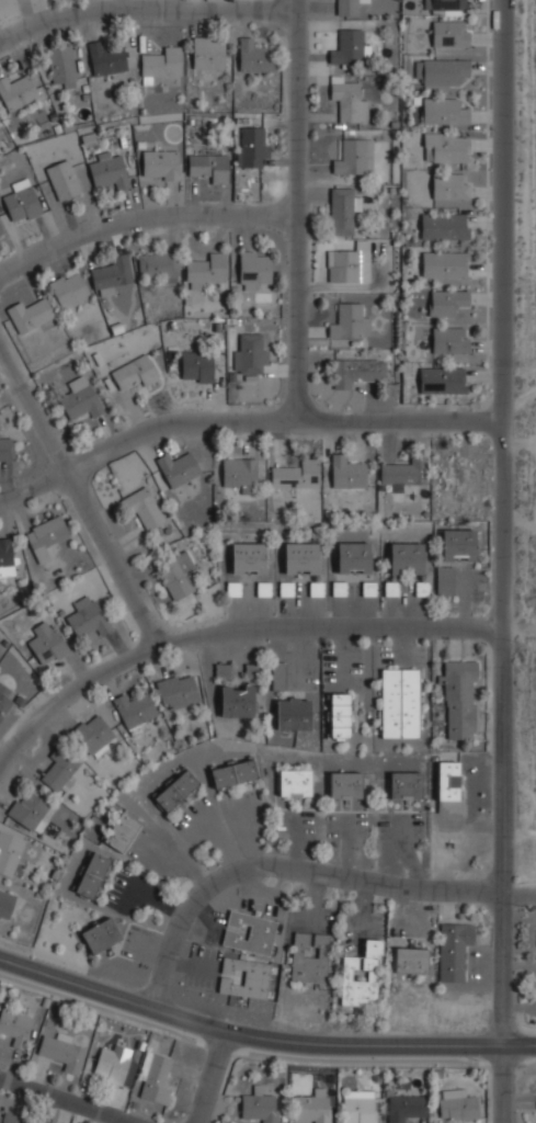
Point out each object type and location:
road: (146, 5)
building: (446, 7)
building: (347, 8)
building: (452, 36)
building: (352, 47)
building: (209, 53)
building: (255, 57)
building: (106, 60)
building: (162, 64)
building: (64, 66)
building: (445, 71)
building: (19, 93)
building: (350, 97)
building: (445, 111)
building: (252, 147)
building: (447, 147)
building: (356, 157)
building: (162, 165)
building: (212, 166)
building: (110, 170)
building: (65, 180)
building: (453, 185)
building: (23, 201)
road: (299, 209)
building: (343, 209)
road: (144, 218)
building: (446, 226)
building: (2, 228)
building: (351, 264)
building: (160, 265)
building: (446, 265)
building: (254, 269)
building: (207, 271)
building: (112, 275)
building: (70, 291)
building: (448, 303)
building: (30, 314)
building: (350, 321)
building: (452, 340)
building: (251, 353)
building: (198, 366)
building: (360, 368)
building: (136, 372)
building: (444, 379)
building: (81, 398)
road: (278, 418)
building: (7, 450)
building: (179, 468)
building: (241, 472)
building: (402, 473)
building: (349, 474)
building: (297, 475)
road: (34, 488)
road: (81, 500)
building: (145, 508)
building: (46, 537)
building: (459, 545)
building: (8, 557)
building: (355, 557)
building: (250, 558)
building: (303, 558)
building: (407, 558)
road: (502, 561)
building: (178, 575)
building: (446, 580)
building: (90, 619)
road: (228, 633)
building: (49, 643)
building: (281, 676)
building: (179, 691)
building: (4, 700)
building: (461, 700)
building: (238, 701)
building: (401, 703)
building: (136, 712)
building: (295, 714)
building: (341, 716)
building: (94, 735)
road: (1, 761)
building: (58, 774)
building: (235, 774)
building: (295, 783)
building: (346, 785)
building: (407, 786)
building: (451, 787)
building: (176, 791)
building: (31, 810)
building: (123, 832)
building: (10, 852)
road: (287, 862)
building: (93, 875)
building: (5, 904)
building: (251, 933)
building: (102, 935)
building: (455, 949)
building: (311, 957)
building: (412, 961)
building: (372, 967)
building: (244, 978)
building: (16, 1026)
road: (261, 1036)
building: (62, 1051)
building: (116, 1066)
building: (157, 1078)
road: (218, 1079)
road: (64, 1101)
building: (261, 1105)
building: (407, 1108)
building: (460, 1108)
building: (312, 1110)
building: (360, 1111)
building: (10, 1116)
building: (31, 1122)

